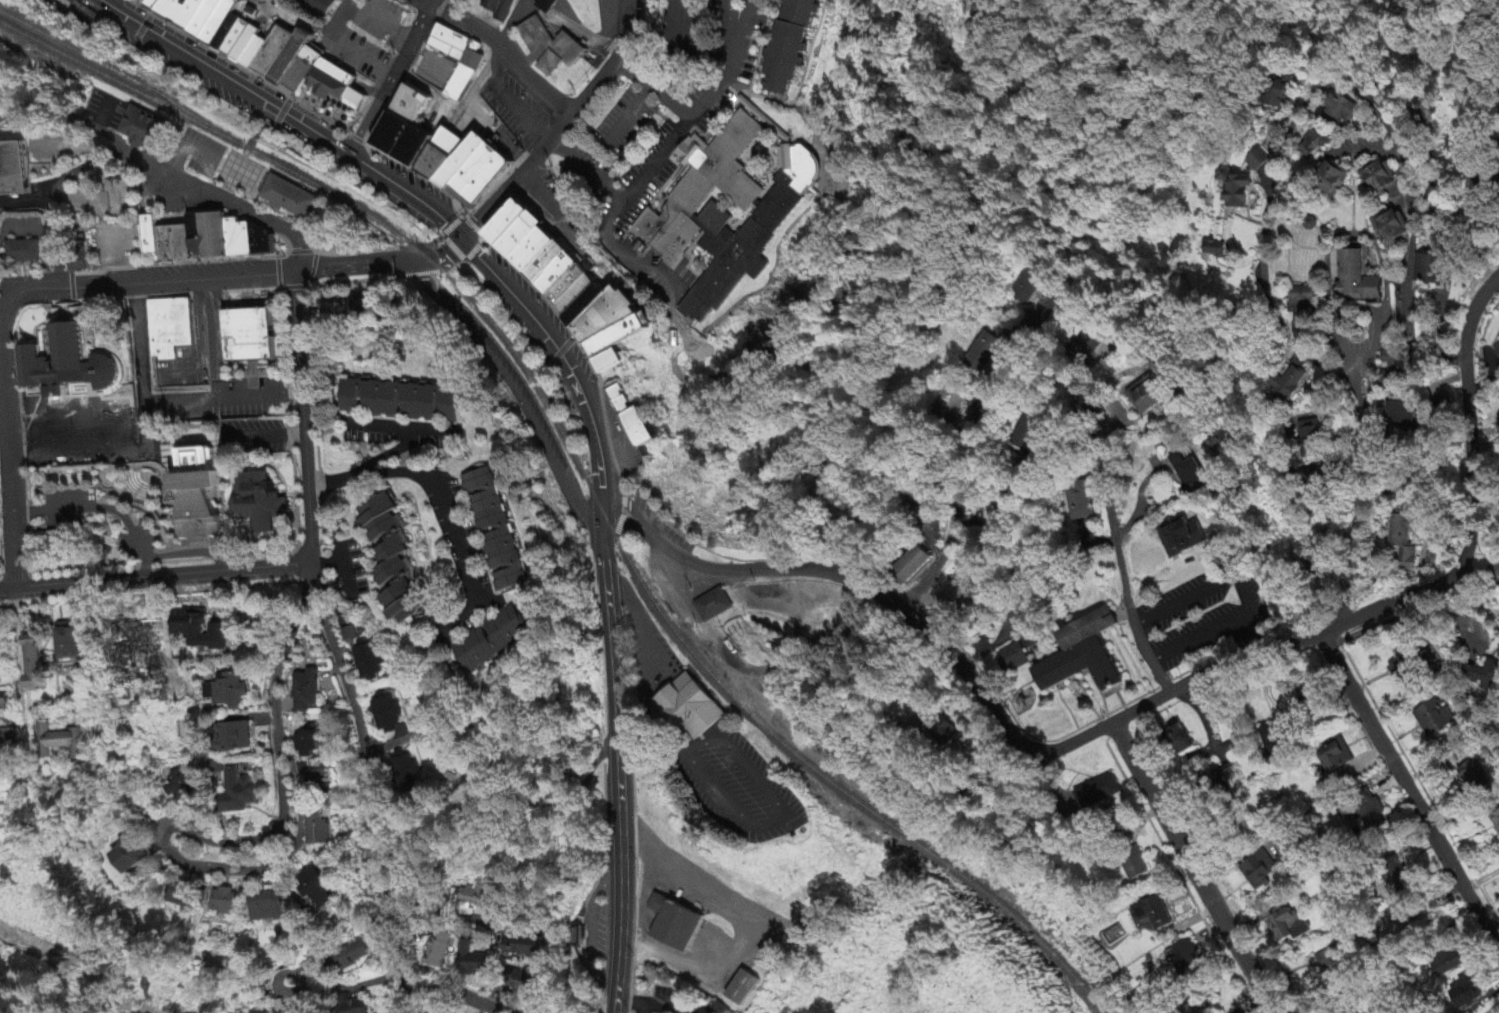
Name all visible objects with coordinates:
road: (421, 2)
road: (427, 2)
building: (66, 3)
building: (154, 4)
building: (547, 5)
building: (184, 13)
building: (88, 14)
building: (210, 18)
road: (298, 20)
building: (222, 24)
road: (141, 26)
building: (230, 34)
road: (738, 34)
building: (238, 38)
building: (450, 42)
road: (348, 43)
building: (247, 46)
road: (503, 52)
building: (256, 56)
building: (275, 57)
building: (293, 62)
railway: (106, 66)
building: (303, 73)
road: (387, 81)
road: (723, 81)
building: (335, 86)
road: (504, 101)
road: (266, 105)
building: (411, 110)
road: (105, 117)
road: (281, 117)
road: (1297, 122)
road: (559, 125)
building: (145, 131)
building: (393, 143)
building: (413, 154)
road: (657, 158)
building: (440, 161)
road: (165, 166)
parking lot: (222, 167)
building: (460, 172)
building: (479, 184)
road: (57, 194)
road: (537, 195)
building: (289, 197)
road: (452, 225)
road: (473, 227)
building: (727, 227)
building: (505, 236)
traffic signals: (464, 240)
building: (152, 241)
building: (213, 243)
building: (195, 245)
building: (238, 245)
building: (174, 250)
road: (451, 250)
building: (515, 250)
road: (624, 253)
road: (472, 254)
building: (531, 263)
road: (282, 273)
building: (545, 275)
building: (1358, 278)
road: (92, 285)
road: (293, 286)
road: (72, 287)
building: (555, 288)
building: (567, 298)
building: (574, 307)
building: (587, 316)
building: (167, 325)
building: (609, 329)
road: (197, 336)
road: (211, 338)
road: (554, 348)
building: (615, 351)
building: (69, 358)
building: (606, 375)
road: (520, 391)
road: (221, 397)
building: (620, 413)
road: (303, 423)
road: (402, 427)
road: (142, 433)
building: (638, 442)
road: (965, 446)
road: (387, 453)
railway: (583, 473)
road: (439, 495)
road: (1140, 502)
road: (105, 507)
road: (620, 512)
road: (1353, 512)
road: (603, 513)
road: (194, 552)
road: (326, 562)
road: (342, 565)
road: (1479, 573)
road: (1123, 575)
road: (155, 582)
road: (1211, 589)
road: (163, 636)
road: (1199, 641)
road: (1252, 641)
road: (647, 667)
road: (6, 689)
building: (692, 705)
road: (1143, 706)
road: (616, 779)
road: (1412, 789)
road: (365, 791)
road: (784, 812)
road: (192, 834)
road: (1190, 867)
road: (441, 914)
road: (588, 927)
park: (72, 949)
road: (315, 986)
road: (487, 1006)

